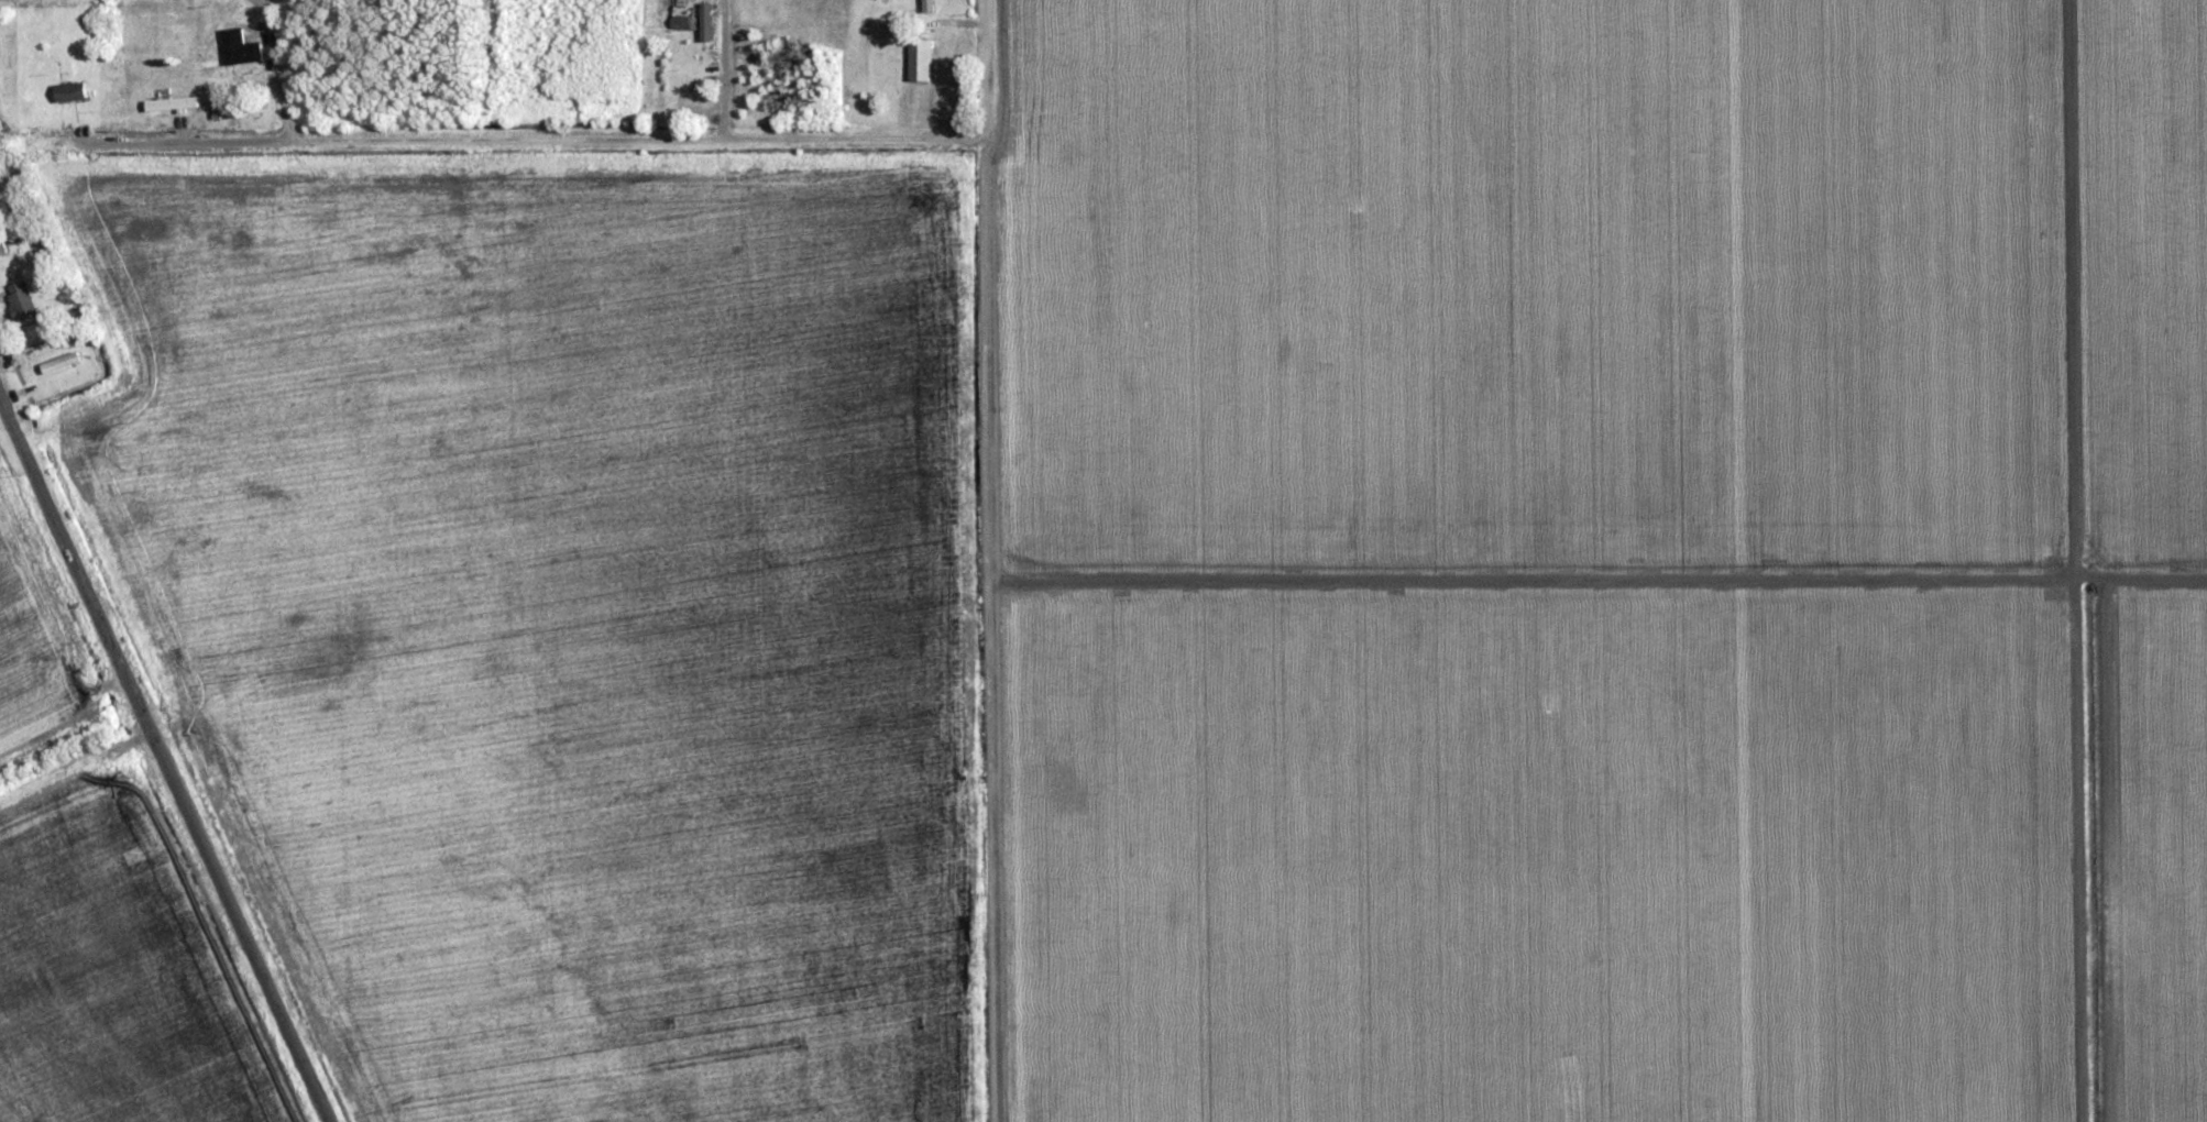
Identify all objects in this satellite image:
building: (683, 22)
building: (233, 47)
road: (987, 56)
building: (918, 58)
road: (723, 69)
building: (179, 88)
building: (68, 95)
building: (176, 106)
road: (573, 139)
road: (183, 140)
building: (1, 245)
building: (25, 301)
building: (31, 334)
building: (45, 369)
road: (164, 762)

